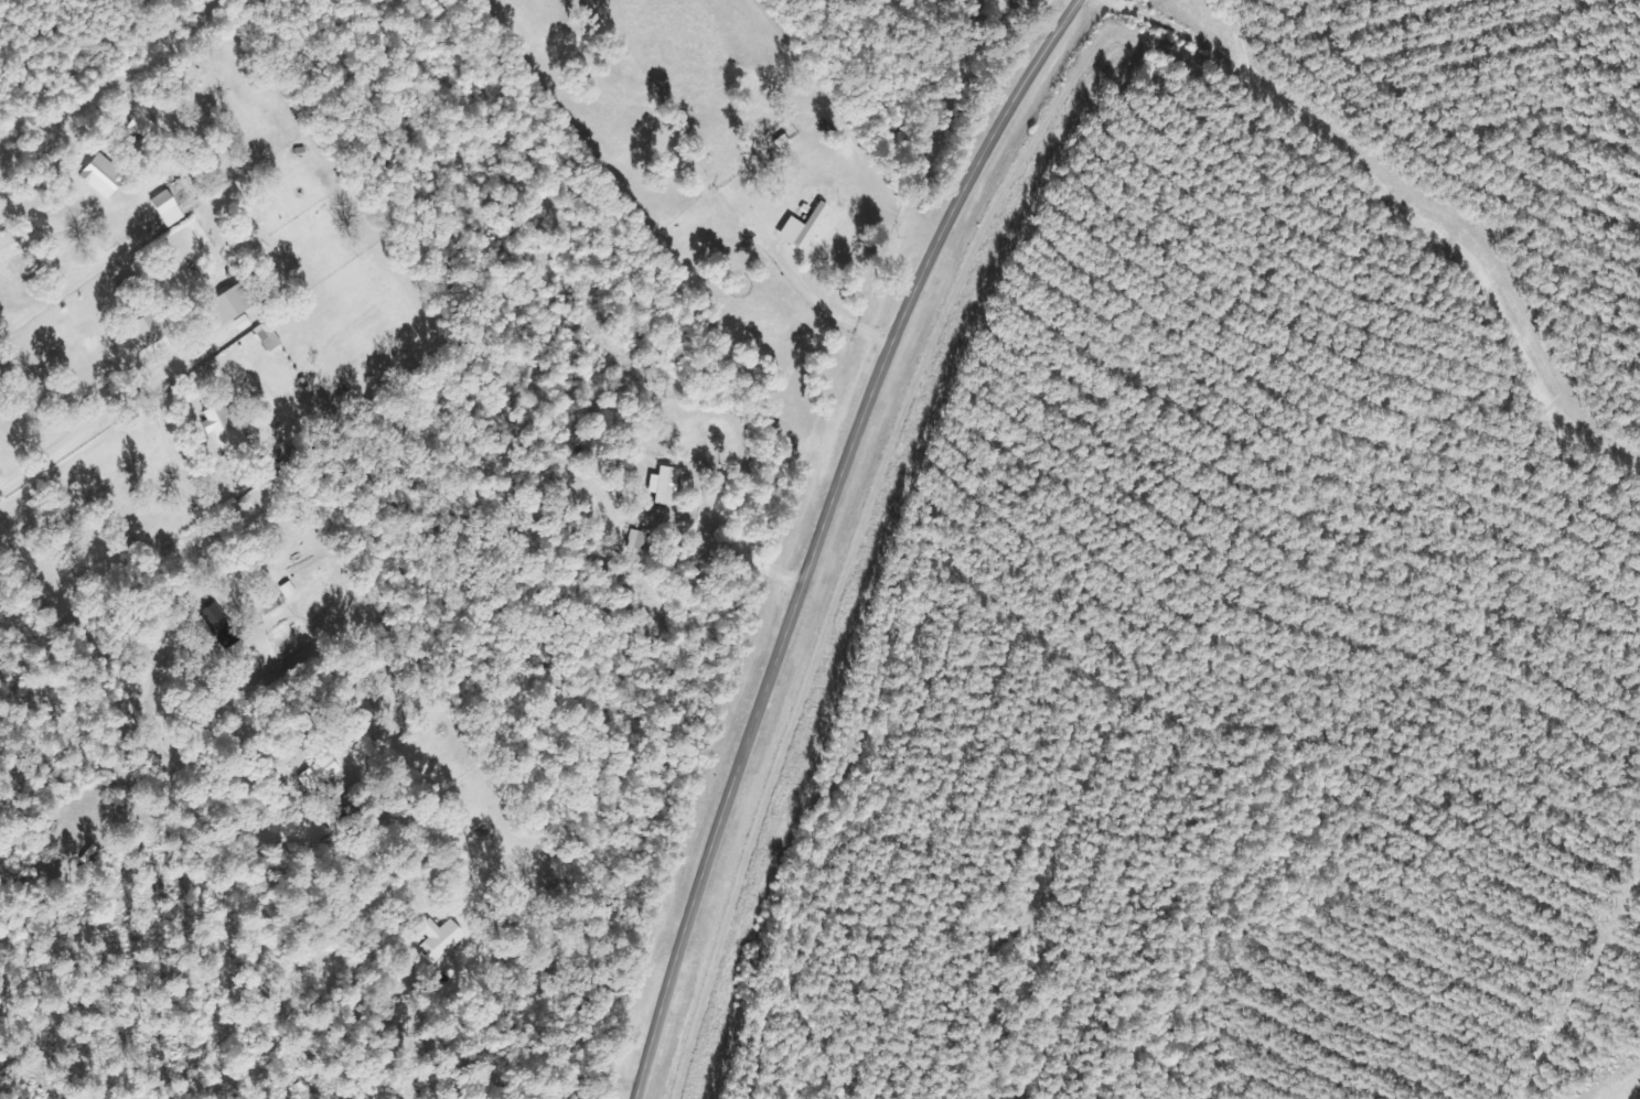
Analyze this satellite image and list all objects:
building: (101, 176)
building: (167, 209)
building: (802, 228)
building: (227, 305)
building: (148, 331)
building: (664, 486)
road: (824, 534)
building: (637, 540)
building: (221, 627)
building: (318, 774)
building: (340, 810)
road: (189, 836)
building: (439, 939)

